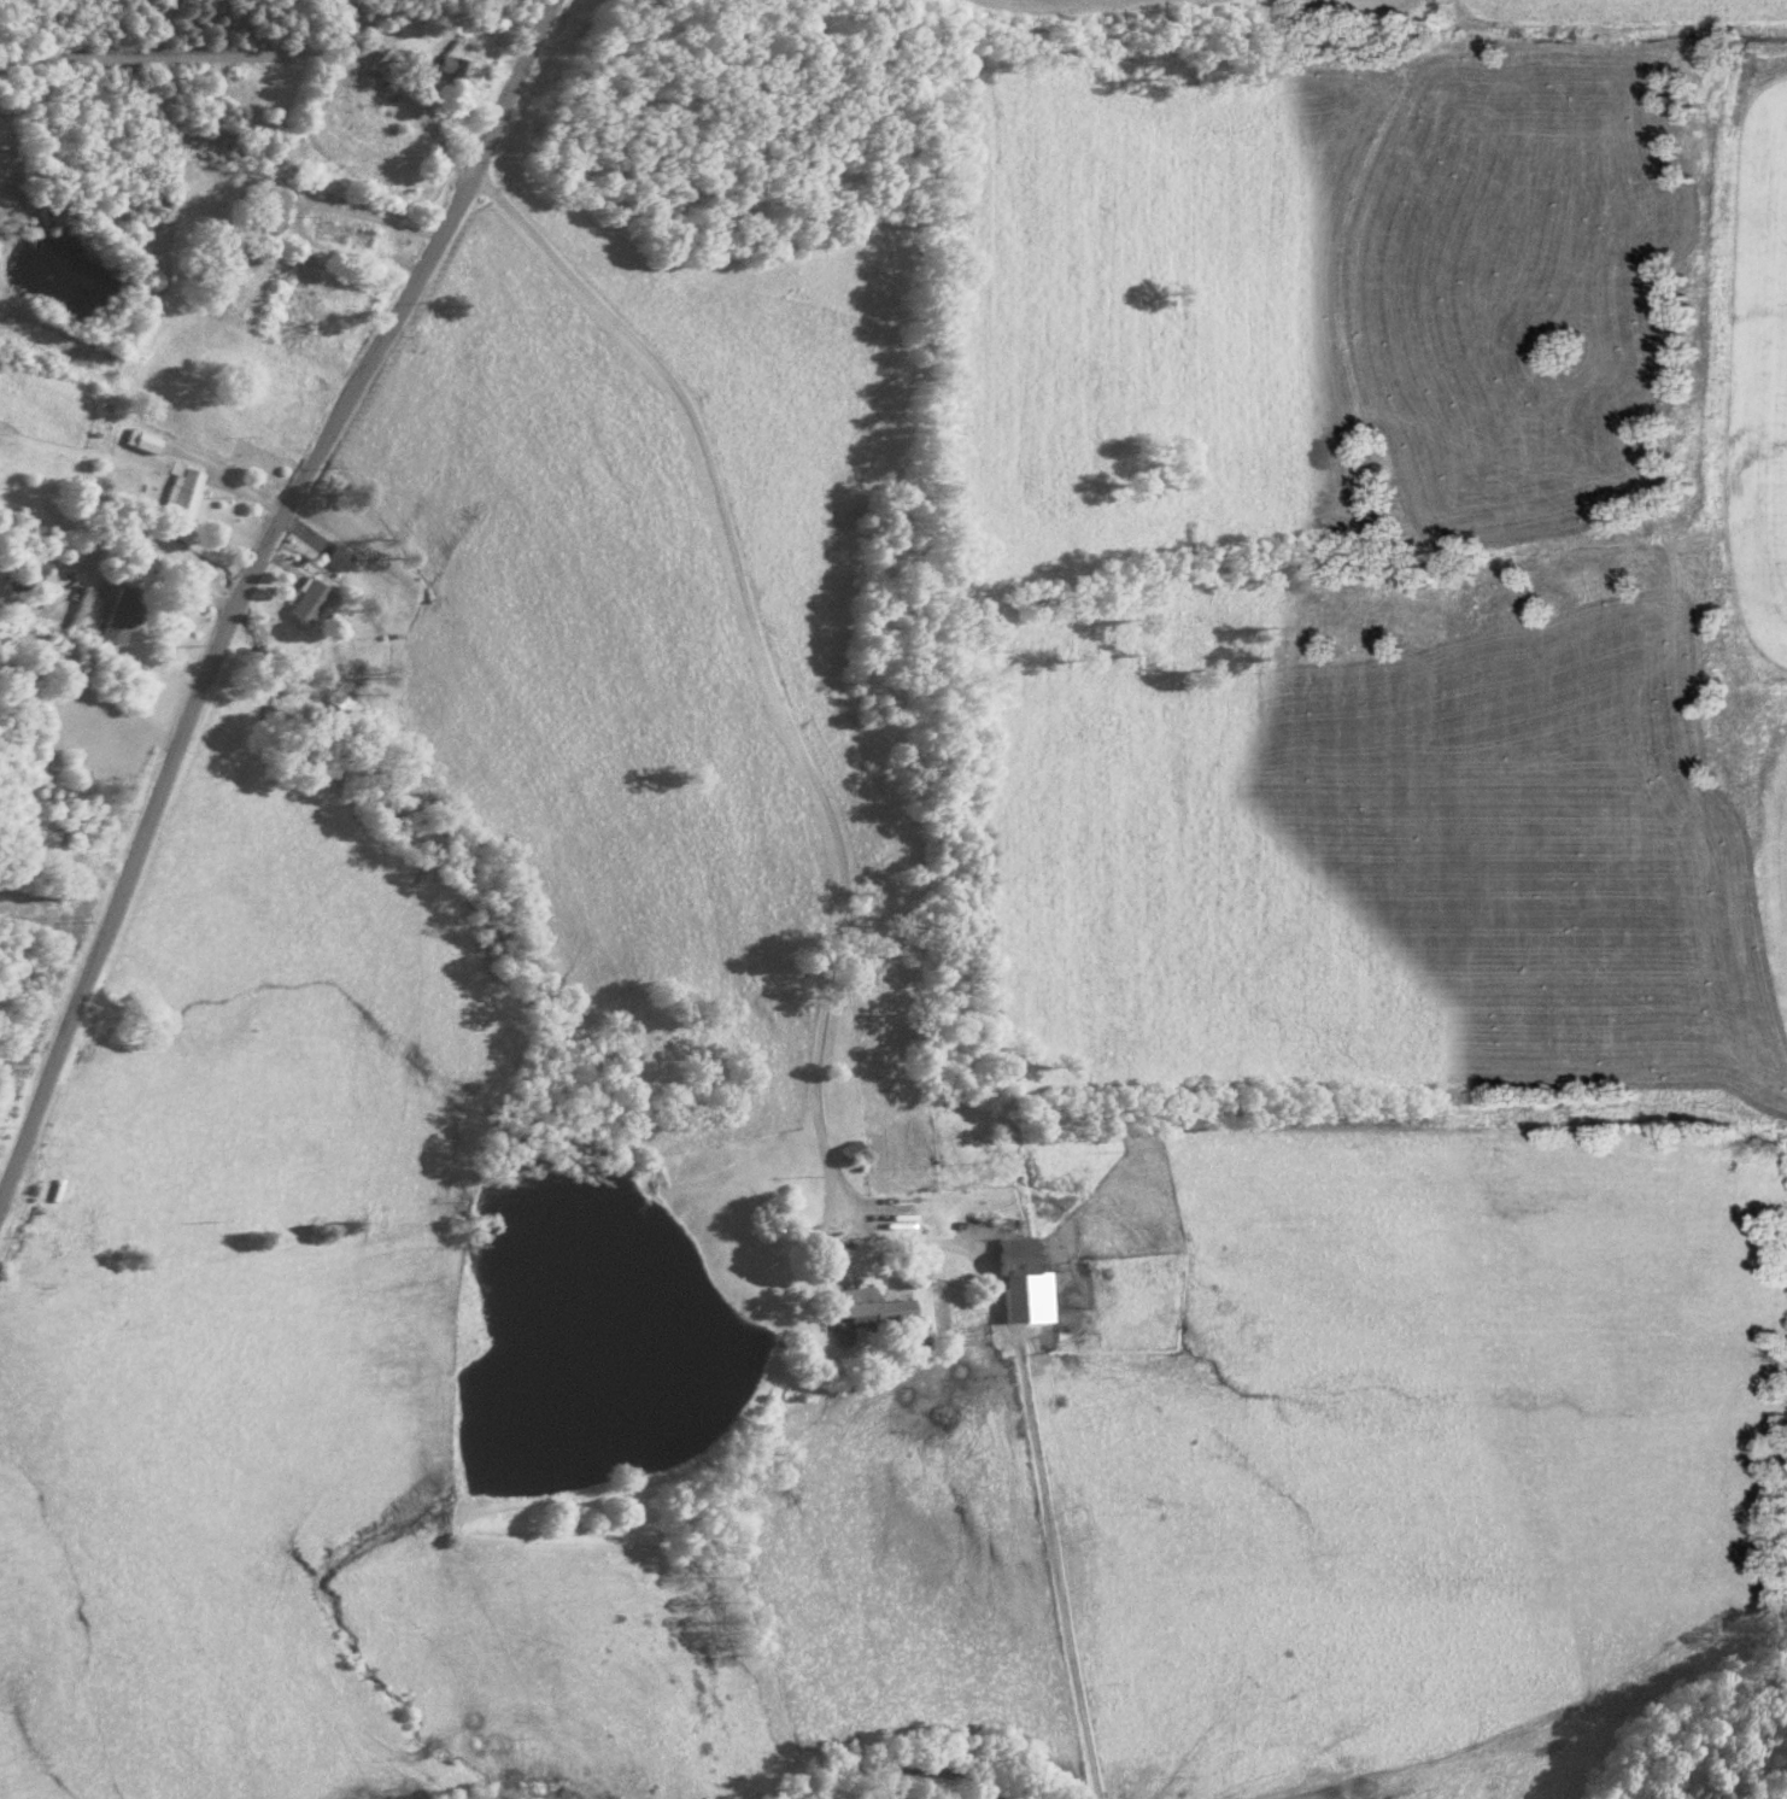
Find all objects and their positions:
road: (189, 55)
building: (441, 72)
building: (258, 210)
road: (295, 222)
building: (332, 234)
building: (177, 493)
road: (150, 520)
building: (329, 557)
road: (183, 573)
road: (241, 584)
road: (736, 585)
building: (119, 599)
building: (299, 602)
building: (74, 609)
building: (842, 1152)
building: (1014, 1282)
building: (861, 1308)

